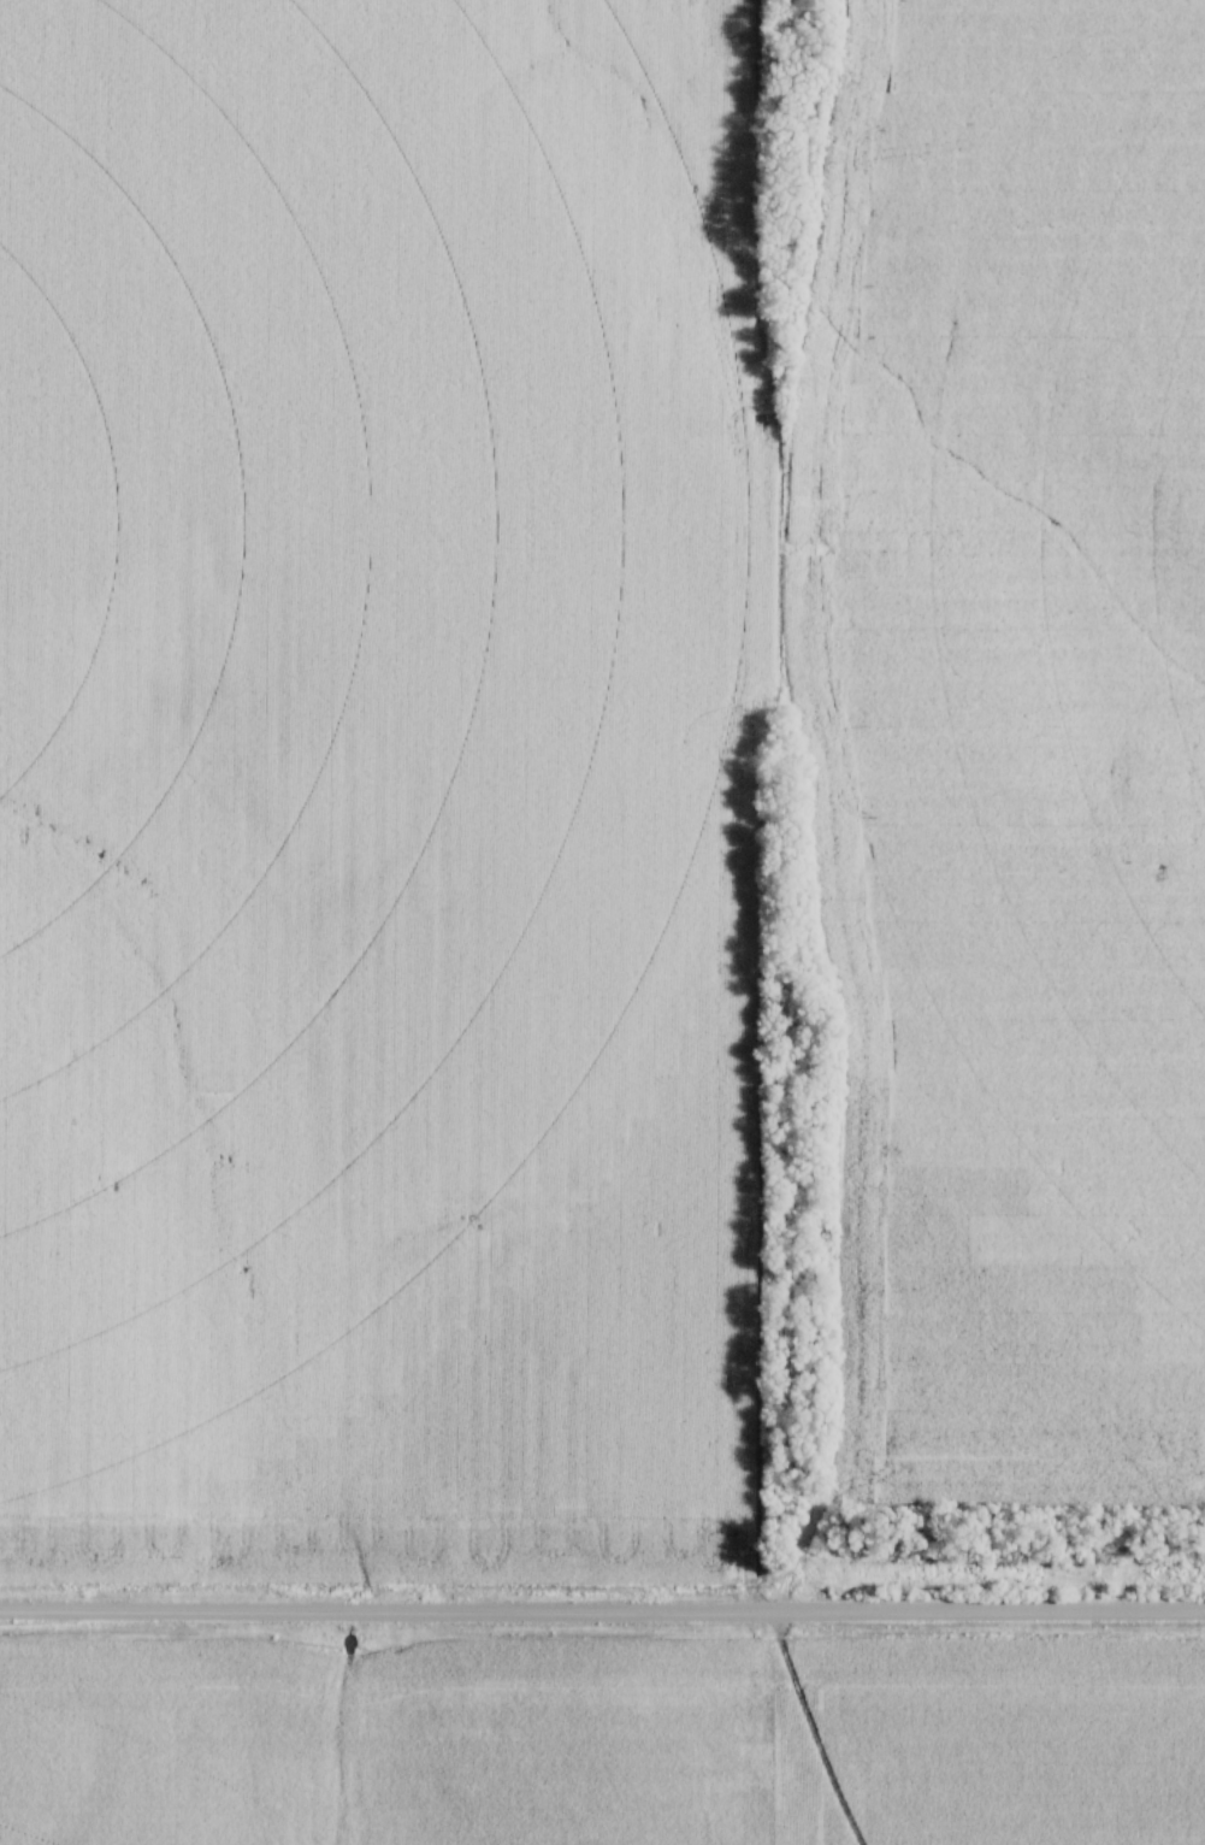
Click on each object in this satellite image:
crop: (1014, 732)
crop: (380, 785)
road: (602, 1613)

